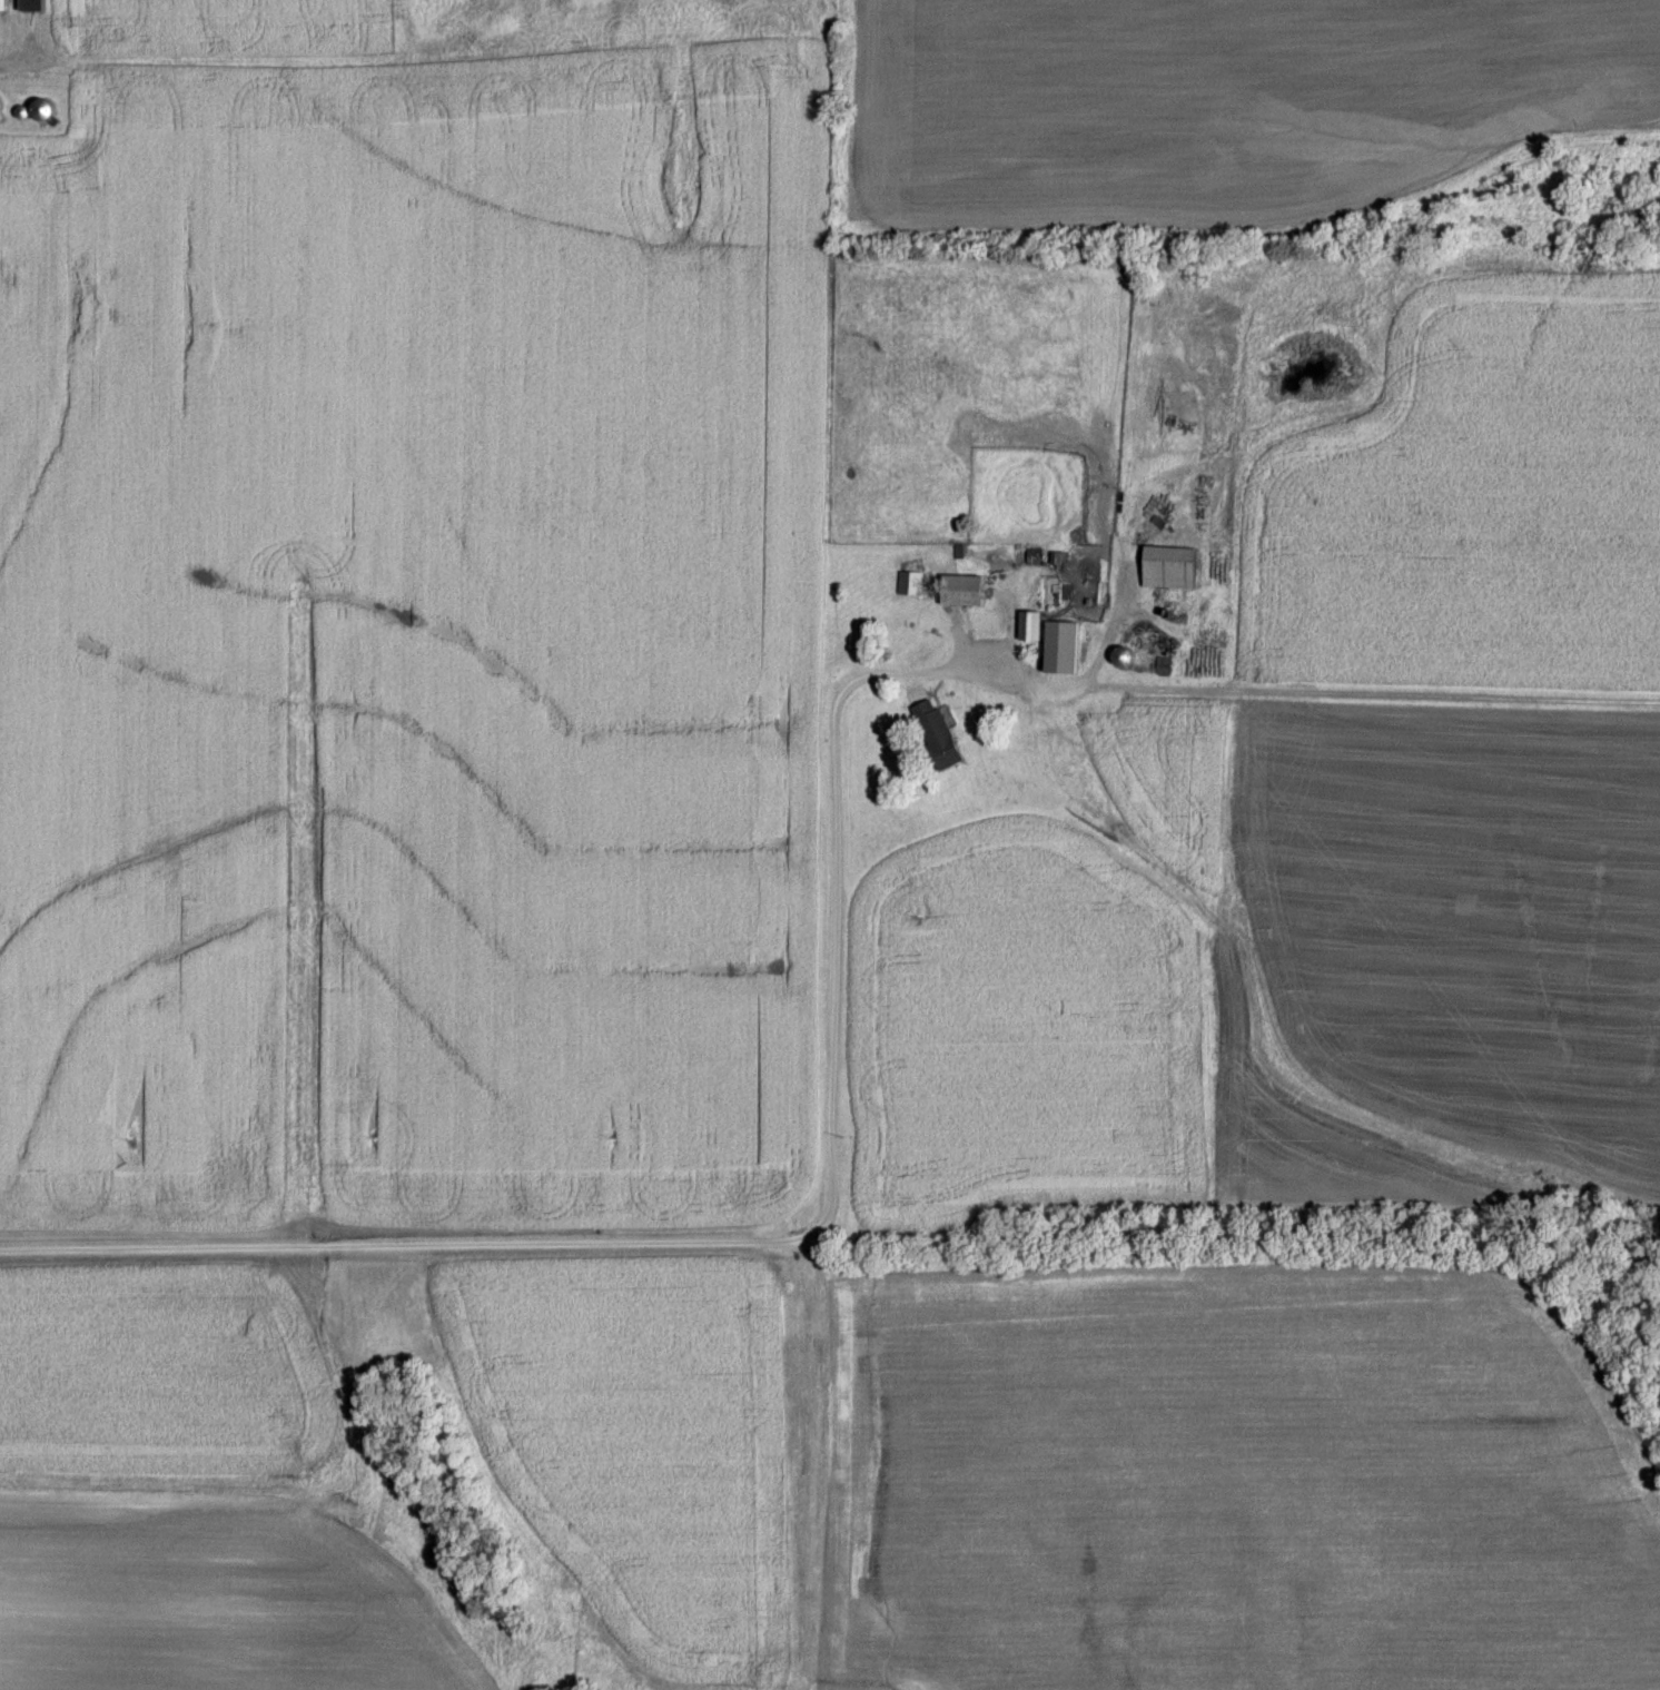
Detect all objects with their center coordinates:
building: (3, 7)
building: (32, 7)
road: (16, 63)
building: (0, 111)
building: (43, 113)
building: (1169, 571)
building: (909, 586)
building: (962, 594)
building: (1029, 630)
road: (1100, 644)
building: (1123, 661)
building: (1163, 669)
building: (999, 672)
building: (937, 737)
road: (791, 1243)

